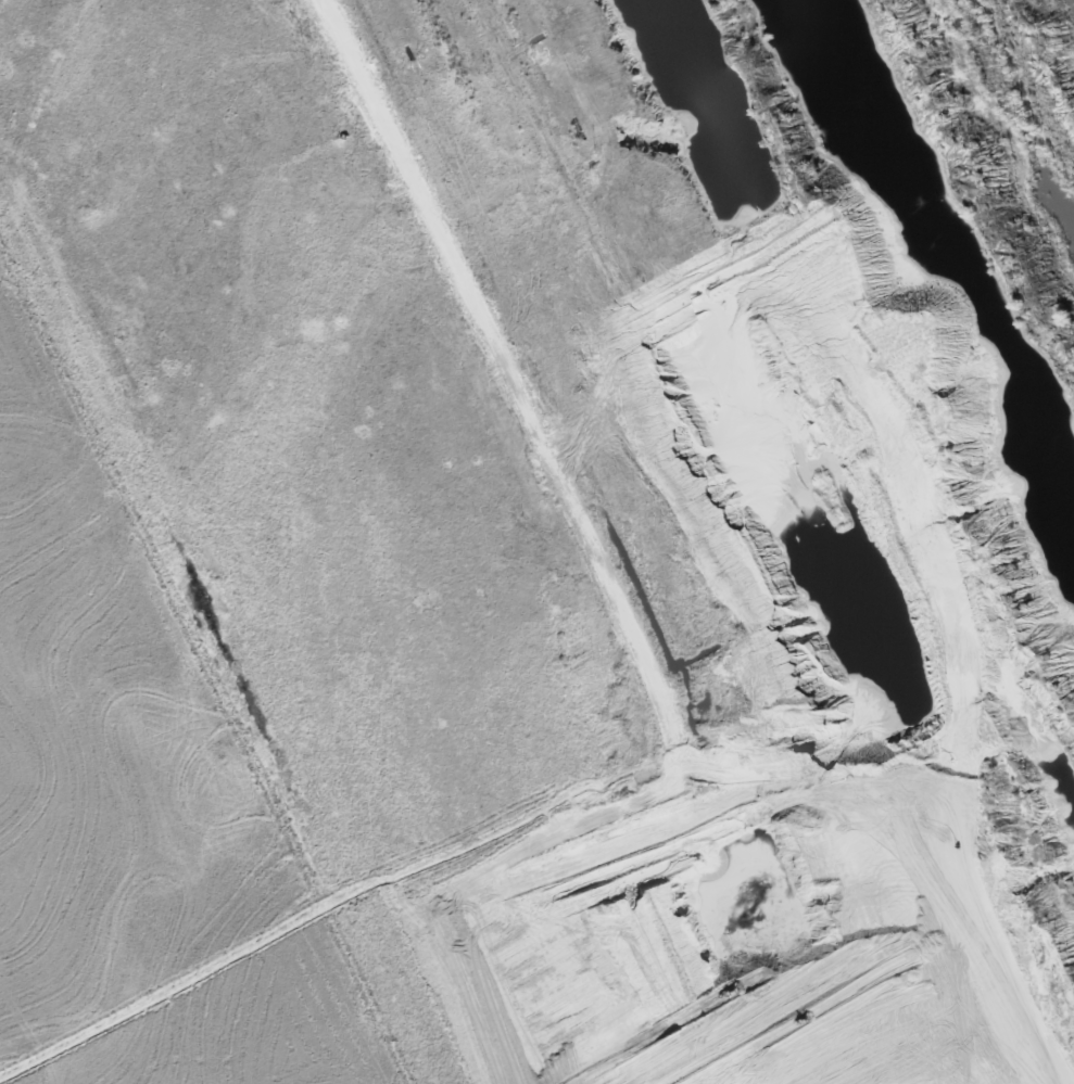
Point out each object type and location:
road: (1006, 140)

